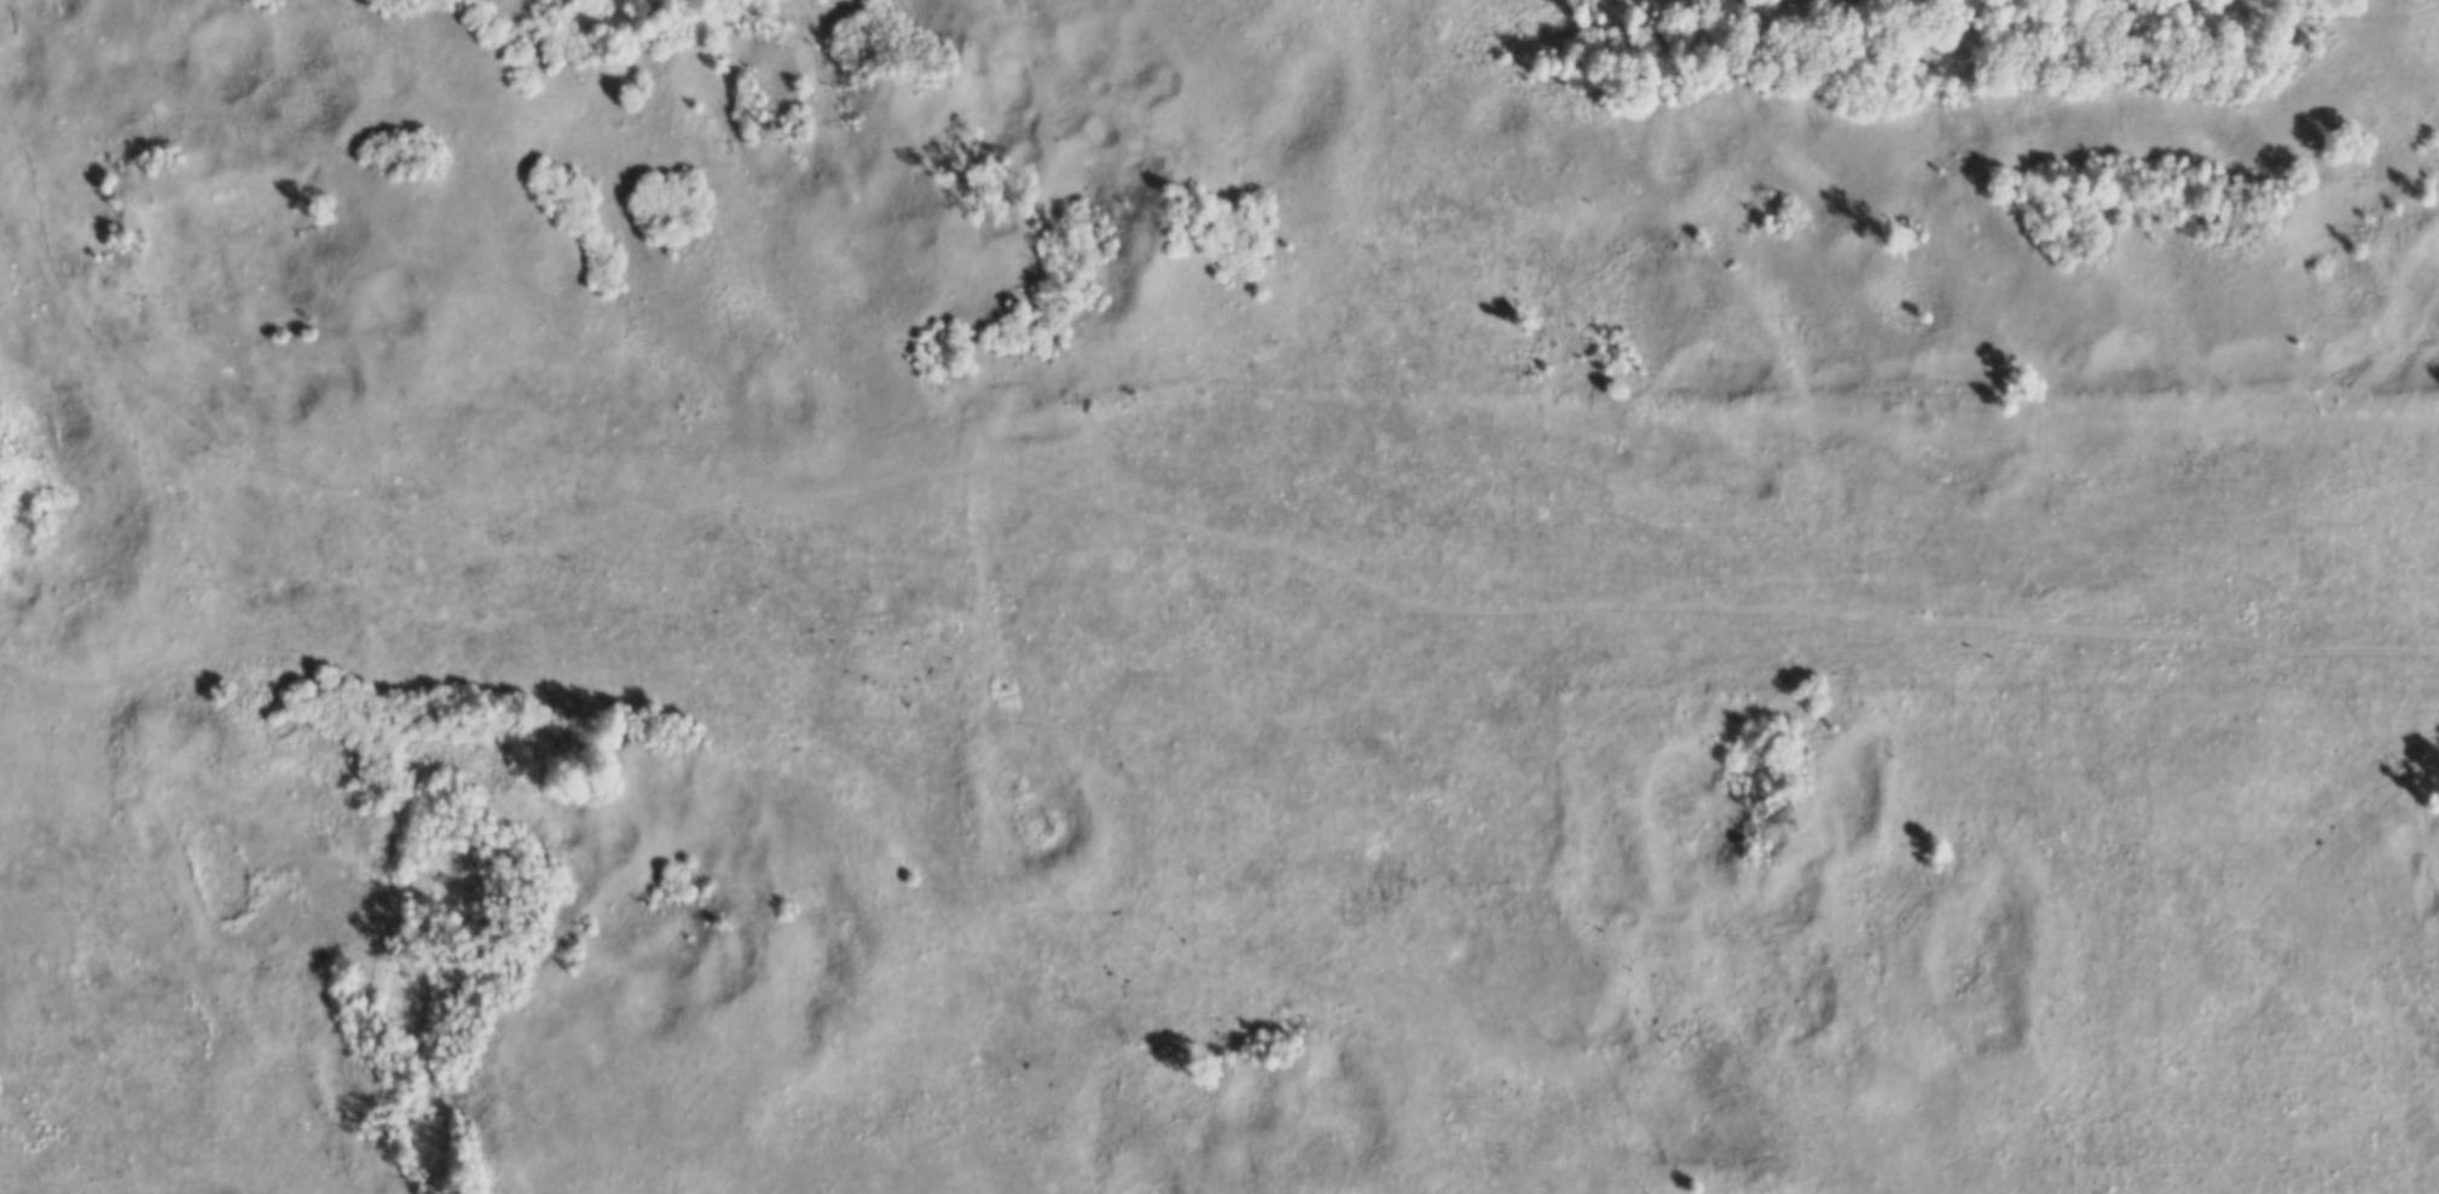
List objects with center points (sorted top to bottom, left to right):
road: (372, 511)
road: (1681, 610)

